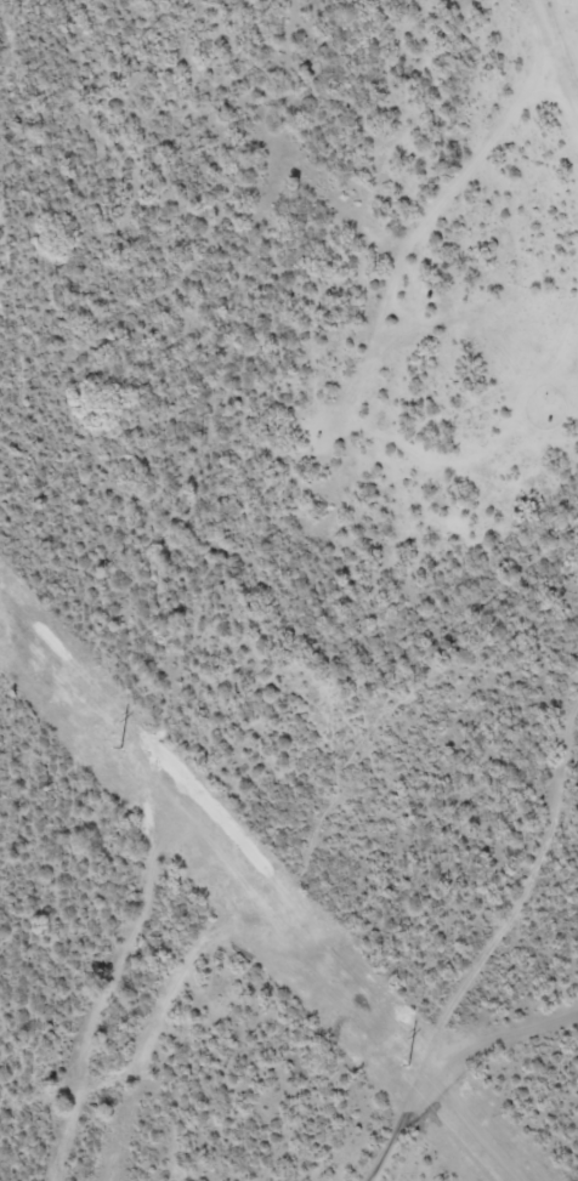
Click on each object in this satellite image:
power tower: (110, 739)
road: (494, 953)
power tower: (401, 1057)

